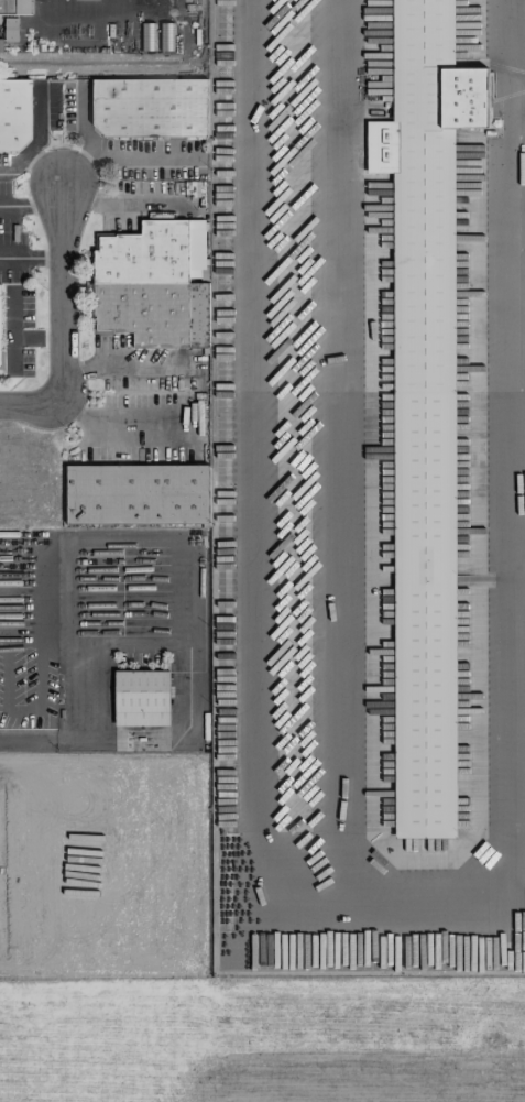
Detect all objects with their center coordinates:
road: (163, 3)
building: (14, 7)
road: (107, 12)
building: (10, 28)
building: (150, 107)
building: (14, 113)
road: (120, 157)
road: (92, 198)
building: (153, 284)
road: (63, 293)
road: (11, 329)
road: (37, 338)
building: (0, 348)
road: (33, 404)
building: (424, 405)
road: (122, 428)
road: (338, 448)
building: (136, 494)
road: (267, 577)
road: (190, 668)
building: (141, 698)
road: (17, 739)

